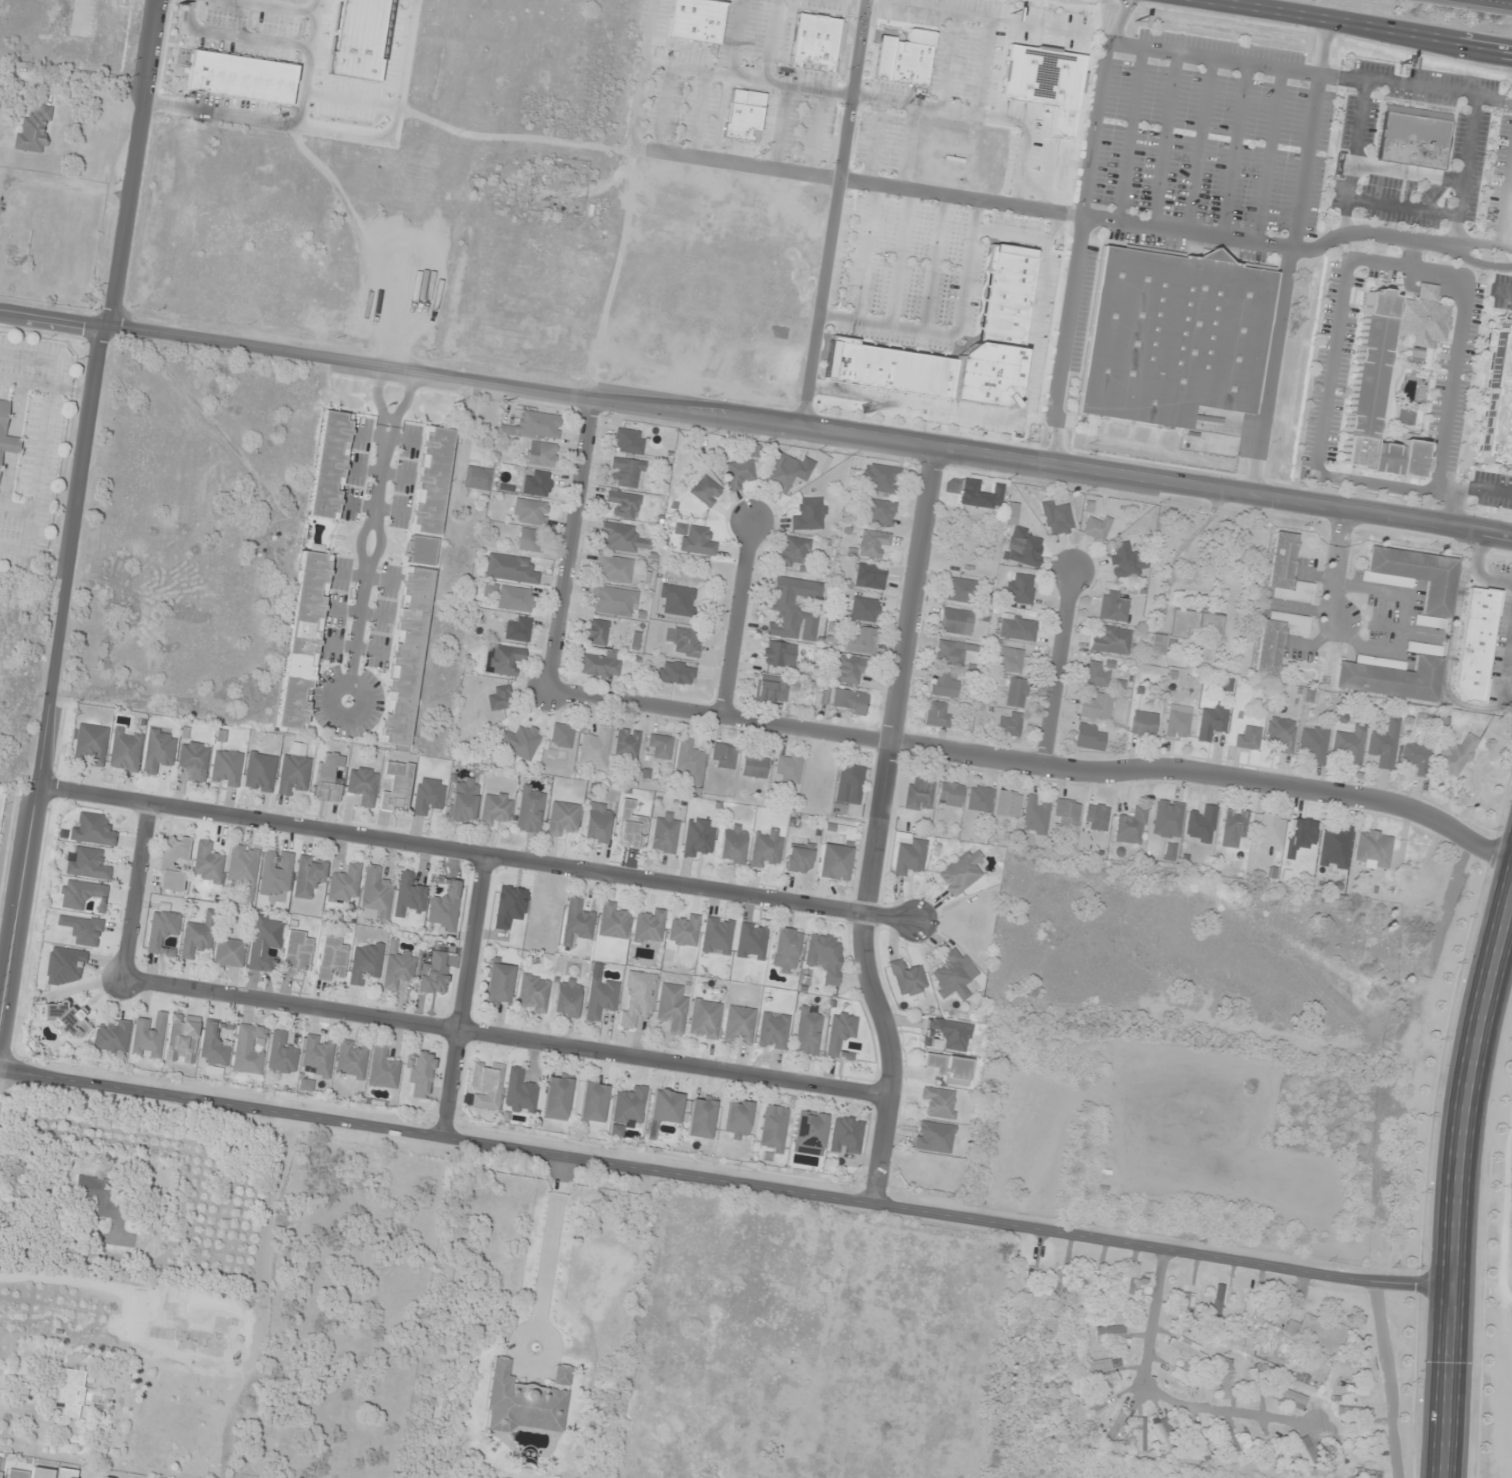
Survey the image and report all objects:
road: (1509, 0)
road: (283, 4)
road: (314, 4)
building: (689, 19)
road: (1360, 25)
road: (237, 32)
road: (649, 32)
building: (351, 36)
road: (738, 38)
building: (807, 40)
road: (771, 41)
road: (1511, 52)
building: (898, 55)
road: (952, 61)
road: (1310, 73)
building: (235, 75)
road: (986, 75)
road: (748, 79)
building: (1037, 80)
road: (361, 100)
road: (638, 106)
road: (663, 110)
road: (238, 114)
building: (738, 114)
road: (696, 116)
road: (714, 118)
road: (782, 128)
building: (34, 130)
road: (361, 133)
road: (817, 133)
road: (1128, 134)
building: (1414, 137)
road: (1161, 139)
road: (877, 142)
road: (1196, 145)
parking lot: (1213, 146)
road: (910, 147)
road: (1234, 151)
road: (1268, 156)
road: (846, 180)
road: (1506, 203)
road: (1402, 205)
road: (834, 215)
road: (1343, 216)
road: (1508, 219)
road: (1454, 230)
road: (1079, 231)
road: (1014, 235)
road: (1482, 243)
road: (1268, 246)
road: (869, 253)
road: (1409, 254)
road: (1289, 257)
road: (902, 258)
road: (937, 263)
road: (1479, 263)
road: (1353, 264)
building: (998, 292)
building: (1422, 318)
road: (957, 335)
building: (1173, 335)
building: (1375, 399)
building: (1498, 401)
road: (1016, 416)
building: (3, 418)
road: (755, 425)
building: (534, 426)
building: (629, 441)
building: (541, 454)
building: (330, 465)
building: (627, 471)
building: (787, 472)
building: (739, 474)
building: (476, 478)
building: (881, 478)
building: (537, 484)
road: (1465, 486)
building: (705, 491)
building: (429, 496)
road: (78, 499)
building: (623, 504)
building: (532, 512)
building: (880, 512)
building: (809, 515)
building: (1057, 518)
building: (229, 520)
road: (373, 528)
building: (1097, 528)
building: (621, 538)
building: (531, 540)
building: (697, 541)
building: (1021, 542)
building: (872, 543)
road: (569, 544)
building: (793, 552)
building: (1126, 561)
road: (1335, 566)
building: (613, 568)
building: (510, 569)
building: (1286, 572)
building: (870, 576)
building: (1415, 579)
building: (1020, 589)
building: (960, 590)
building: (518, 599)
building: (677, 600)
building: (613, 601)
building: (781, 604)
building: (1112, 606)
building: (864, 609)
road: (737, 621)
building: (955, 621)
building: (1195, 625)
building: (1298, 626)
building: (1017, 627)
building: (517, 628)
building: (597, 632)
building: (304, 639)
building: (683, 641)
building: (861, 641)
building: (1113, 642)
building: (1476, 644)
building: (1157, 645)
building: (1268, 649)
building: (950, 653)
building: (778, 654)
building: (406, 655)
building: (503, 659)
building: (1009, 660)
building: (598, 665)
road: (1056, 668)
building: (849, 669)
building: (675, 673)
building: (1097, 674)
building: (1392, 676)
building: (943, 685)
building: (770, 689)
building: (1015, 693)
building: (499, 699)
building: (849, 702)
building: (1096, 707)
building: (936, 715)
building: (1177, 722)
building: (1211, 722)
building: (1143, 724)
building: (1009, 725)
building: (1281, 735)
building: (561, 736)
building: (1089, 737)
building: (1247, 737)
building: (519, 741)
building: (626, 744)
building: (1313, 744)
building: (90, 745)
building: (1349, 745)
building: (1383, 746)
building: (658, 747)
building: (593, 748)
building: (125, 750)
building: (158, 751)
building: (723, 756)
building: (1455, 756)
building: (1415, 759)
building: (194, 760)
building: (689, 764)
road: (1036, 765)
building: (753, 767)
building: (226, 768)
building: (787, 768)
building: (259, 772)
building: (293, 774)
building: (327, 779)
building: (850, 782)
building: (362, 785)
building: (396, 787)
building: (917, 794)
building: (948, 794)
building: (978, 799)
building: (463, 801)
building: (1006, 804)
building: (495, 809)
building: (529, 810)
building: (1066, 812)
building: (1034, 817)
building: (1095, 817)
building: (562, 818)
building: (1166, 819)
building: (597, 823)
building: (1200, 824)
building: (1130, 826)
road: (875, 827)
building: (1233, 827)
building: (629, 828)
building: (1270, 829)
building: (93, 831)
building: (665, 833)
building: (848, 833)
building: (697, 838)
building: (732, 844)
building: (1334, 847)
building: (765, 848)
building: (1372, 849)
road: (473, 853)
building: (908, 857)
building: (797, 859)
building: (208, 862)
building: (833, 862)
building: (86, 863)
building: (173, 863)
building: (243, 868)
building: (275, 873)
building: (959, 873)
building: (308, 876)
building: (343, 883)
road: (134, 890)
building: (375, 894)
building: (82, 895)
road: (1448, 903)
building: (444, 904)
building: (576, 920)
building: (613, 921)
building: (648, 928)
building: (683, 931)
building: (162, 932)
building: (1347, 934)
building: (716, 935)
building: (197, 937)
building: (750, 941)
building: (264, 942)
building: (784, 950)
building: (229, 952)
building: (297, 953)
building: (824, 956)
building: (331, 957)
building: (365, 963)
building: (397, 968)
building: (434, 975)
building: (953, 975)
building: (906, 979)
building: (532, 993)
road: (463, 996)
building: (600, 997)
building: (566, 998)
building: (636, 998)
building: (671, 1008)
building: (67, 1019)
building: (704, 1019)
building: (738, 1025)
building: (772, 1030)
building: (807, 1030)
building: (948, 1033)
building: (839, 1034)
building: (112, 1037)
building: (148, 1037)
road: (504, 1038)
building: (181, 1039)
building: (214, 1047)
building: (247, 1050)
building: (281, 1053)
building: (317, 1055)
building: (350, 1059)
building: (947, 1068)
building: (382, 1069)
building: (420, 1073)
building: (486, 1085)
building: (519, 1093)
building: (557, 1097)
building: (592, 1103)
building: (938, 1103)
building: (665, 1108)
building: (627, 1110)
building: (701, 1118)
building: (737, 1120)
building: (772, 1129)
building: (808, 1133)
building: (844, 1135)
building: (932, 1137)
road: (725, 1180)
road: (1455, 1181)
building: (101, 1196)
building: (1093, 1287)
building: (1124, 1289)
building: (1188, 1296)
building: (1248, 1309)
building: (1278, 1312)
building: (1109, 1333)
building: (1318, 1334)
building: (1186, 1348)
building: (1103, 1367)
building: (562, 1375)
building: (1181, 1376)
road: (1389, 1378)
building: (1224, 1379)
building: (1252, 1385)
building: (69, 1391)
road: (1160, 1398)
building: (1291, 1399)
building: (1092, 1401)
building: (523, 1403)
building: (1354, 1411)
building: (1114, 1429)
building: (1166, 1436)
building: (1195, 1437)
building: (1234, 1446)
building: (1269, 1448)
building: (1335, 1452)
building: (1303, 1453)
building: (0, 1459)
building: (41, 1472)
building: (66, 1473)
building: (17, 1474)
building: (1372, 1474)

